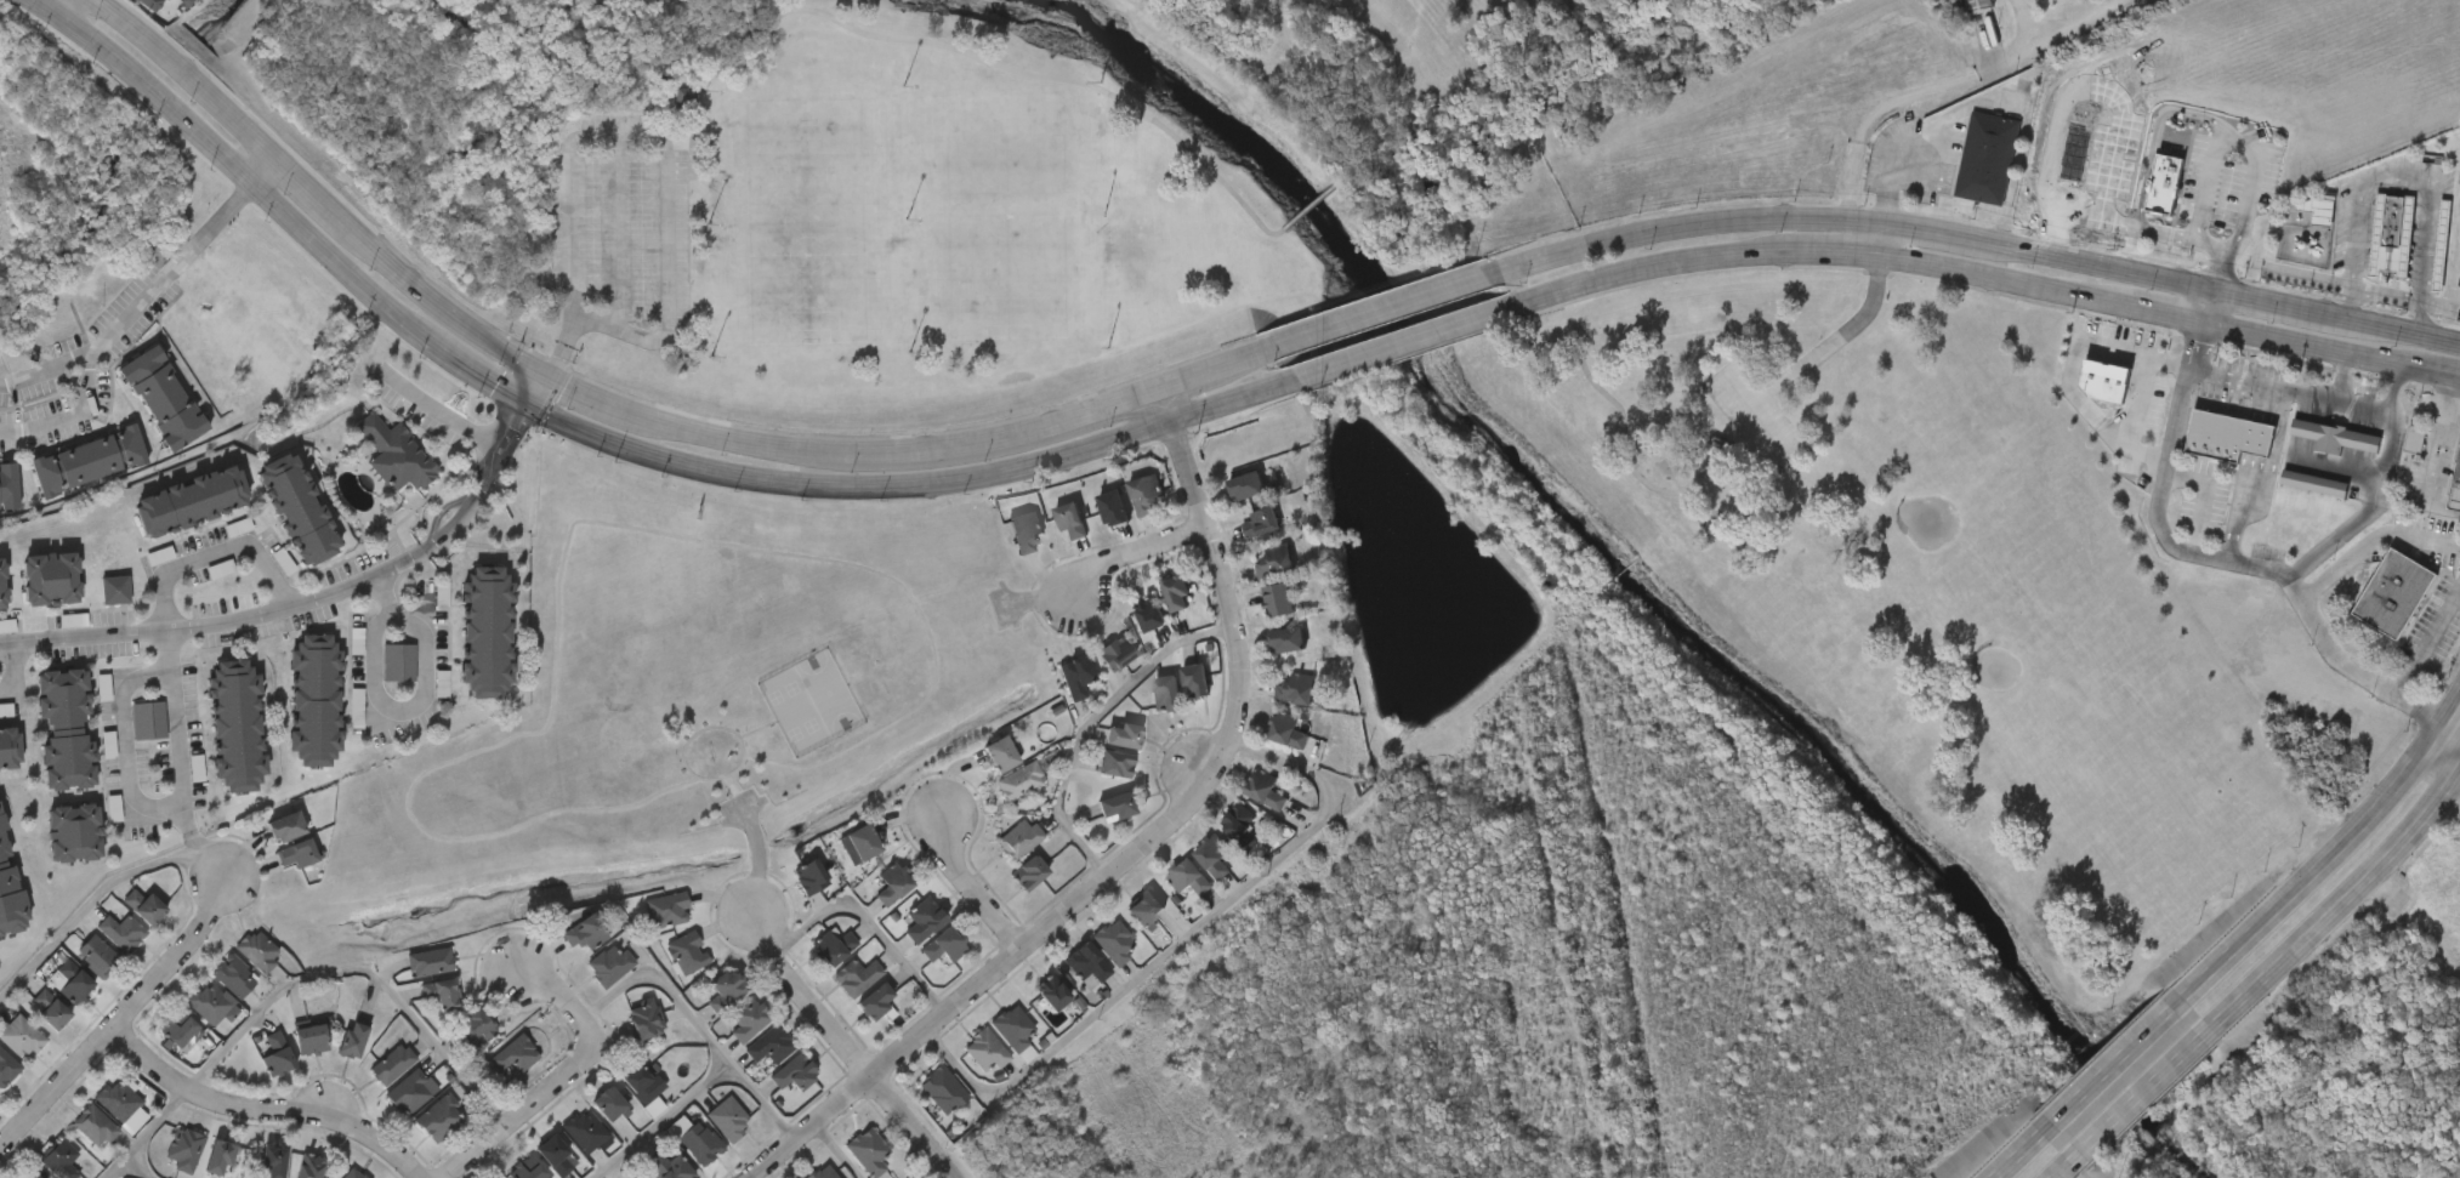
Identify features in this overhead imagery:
road: (61, 5)
building: (153, 5)
road: (767, 7)
building: (129, 13)
building: (1953, 18)
road: (1053, 79)
road: (1955, 92)
road: (2170, 110)
building: (663, 121)
road: (644, 136)
building: (1985, 153)
road: (266, 172)
road: (2399, 172)
building: (1965, 182)
road: (2206, 184)
park: (826, 187)
building: (2166, 187)
road: (1311, 209)
building: (2143, 209)
park: (1006, 216)
road: (1853, 218)
park: (808, 221)
building: (2390, 233)
building: (2454, 237)
road: (1885, 239)
building: (2441, 244)
building: (2369, 260)
road: (167, 269)
road: (2215, 272)
road: (1985, 278)
road: (1522, 283)
road: (2360, 288)
road: (2348, 302)
road: (2273, 303)
road: (2441, 306)
road: (2208, 307)
road: (1381, 311)
road: (2398, 329)
road: (1564, 345)
road: (1834, 345)
road: (1396, 346)
road: (1249, 357)
road: (541, 369)
traffic signals: (544, 371)
road: (2070, 371)
road: (87, 377)
road: (2342, 377)
building: (2101, 382)
road: (1161, 385)
road: (1197, 391)
building: (161, 398)
road: (2316, 398)
road: (2137, 403)
building: (2081, 405)
road: (1223, 406)
road: (2454, 408)
traffic signals: (523, 412)
road: (442, 414)
road: (1131, 415)
parking lot: (1754, 415)
road: (1755, 415)
road: (536, 419)
building: (142, 421)
building: (2227, 438)
building: (2336, 438)
building: (2414, 438)
building: (394, 451)
road: (2437, 453)
building: (84, 456)
building: (2206, 460)
building: (2313, 461)
building: (2392, 463)
road: (494, 466)
building: (7, 478)
building: (375, 478)
road: (2268, 480)
building: (2314, 482)
building: (69, 483)
building: (1245, 485)
building: (2456, 488)
gas station: (2456, 488)
building: (1143, 490)
road: (2205, 491)
building: (188, 500)
building: (299, 507)
building: (2293, 507)
building: (1110, 508)
building: (1226, 510)
road: (2365, 512)
building: (1069, 517)
building: (1124, 518)
building: (1259, 520)
building: (170, 524)
building: (1024, 528)
building: (277, 530)
building: (1091, 531)
road: (2370, 542)
building: (1049, 544)
building: (1239, 546)
road: (1134, 553)
building: (1004, 554)
road: (2225, 559)
building: (1278, 560)
building: (52, 576)
building: (114, 585)
building: (1260, 585)
building: (0, 592)
road: (384, 592)
building: (1175, 592)
building: (2396, 594)
building: (1276, 599)
building: (30, 602)
building: (93, 613)
park: (1935, 613)
building: (1147, 615)
road: (220, 621)
building: (420, 621)
building: (1256, 624)
road: (167, 626)
building: (484, 632)
building: (1129, 637)
building: (1283, 638)
road: (2430, 642)
building: (1114, 651)
building: (465, 655)
building: (397, 659)
building: (1266, 664)
road: (16, 670)
building: (1075, 673)
building: (1095, 676)
building: (1192, 677)
building: (377, 685)
building: (1294, 688)
building: (1163, 692)
building: (313, 699)
building: (1055, 700)
park: (693, 701)
building: (1174, 704)
road: (404, 710)
building: (1274, 713)
building: (149, 717)
building: (1146, 717)
road: (1085, 718)
building: (64, 723)
building: (238, 723)
building: (295, 723)
building: (1285, 729)
building: (1120, 734)
building: (127, 742)
road: (126, 744)
road: (2449, 744)
building: (8, 745)
building: (215, 749)
building: (45, 752)
building: (998, 753)
building: (1266, 755)
building: (1112, 762)
building: (978, 778)
building: (1019, 778)
building: (1093, 787)
building: (1262, 787)
building: (0, 789)
building: (998, 804)
building: (1114, 807)
building: (1244, 813)
building: (284, 824)
building: (1238, 825)
building: (72, 827)
building: (1095, 830)
building: (1021, 836)
building: (860, 843)
building: (1220, 848)
building: (266, 849)
building: (294, 853)
building: (1211, 854)
building: (55, 855)
road: (2334, 855)
road: (205, 857)
road: (1125, 860)
building: (998, 861)
building: (839, 866)
building: (808, 873)
building: (1028, 873)
building: (275, 876)
building: (1187, 876)
building: (892, 882)
building: (10, 886)
road: (971, 886)
building: (1007, 895)
building: (789, 900)
building: (1166, 901)
building: (143, 904)
road: (87, 905)
building: (666, 905)
road: (2341, 905)
building: (871, 906)
building: (1143, 907)
road: (870, 917)
building: (924, 918)
building: (123, 927)
building: (585, 927)
building: (646, 933)
building: (2, 934)
road: (1180, 935)
building: (1112, 938)
building: (902, 943)
building: (943, 943)
building: (834, 944)
building: (686, 946)
building: (97, 947)
building: (257, 947)
building: (562, 956)
building: (428, 958)
building: (1086, 960)
building: (612, 961)
road: (358, 963)
building: (922, 968)
building: (812, 969)
building: (234, 972)
building: (857, 973)
building: (666, 975)
building: (74, 979)
building: (409, 984)
building: (727, 985)
building: (589, 988)
building: (1051, 990)
building: (437, 992)
building: (876, 998)
building: (835, 1000)
building: (209, 1002)
building: (49, 1008)
building: (704, 1012)
building: (646, 1015)
building: (1030, 1015)
building: (420, 1017)
building: (748, 1017)
road: (123, 1018)
road: (698, 1018)
building: (854, 1023)
building: (178, 1024)
building: (1011, 1025)
building: (471, 1026)
building: (17, 1030)
building: (305, 1034)
building: (352, 1036)
building: (625, 1041)
building: (727, 1041)
building: (769, 1042)
building: (984, 1047)
road: (850, 1048)
building: (455, 1052)
building: (515, 1052)
building: (161, 1053)
building: (278, 1053)
road: (2123, 1060)
building: (333, 1062)
building: (392, 1062)
building: (7, 1064)
building: (749, 1068)
building: (791, 1070)
building: (964, 1074)
building: (256, 1077)
building: (494, 1077)
road: (563, 1077)
building: (638, 1081)
building: (942, 1085)
building: (371, 1087)
building: (410, 1087)
building: (0, 1089)
building: (773, 1096)
road: (2143, 1096)
building: (115, 1098)
building: (607, 1102)
road: (266, 1111)
building: (727, 1112)
building: (921, 1112)
building: (391, 1114)
building: (437, 1115)
road: (658, 1117)
building: (93, 1125)
building: (583, 1128)
road: (137, 1131)
building: (419, 1140)
building: (699, 1142)
building: (183, 1145)
building: (869, 1146)
building: (74, 1148)
road: (840, 1150)
building: (553, 1151)
road: (2023, 1153)
building: (215, 1154)
building: (61, 1157)
building: (272, 1160)
building: (165, 1165)
building: (308, 1165)
road: (137, 1166)
building: (667, 1166)
building: (846, 1167)
building: (525, 1168)
building: (201, 1171)
road: (2064, 1171)
building: (351, 1172)
building: (820, 1172)
building: (252, 1173)
building: (33, 1176)
building: (285, 1176)
building: (637, 1176)
building: (506, 1177)
building: (625, 1177)

